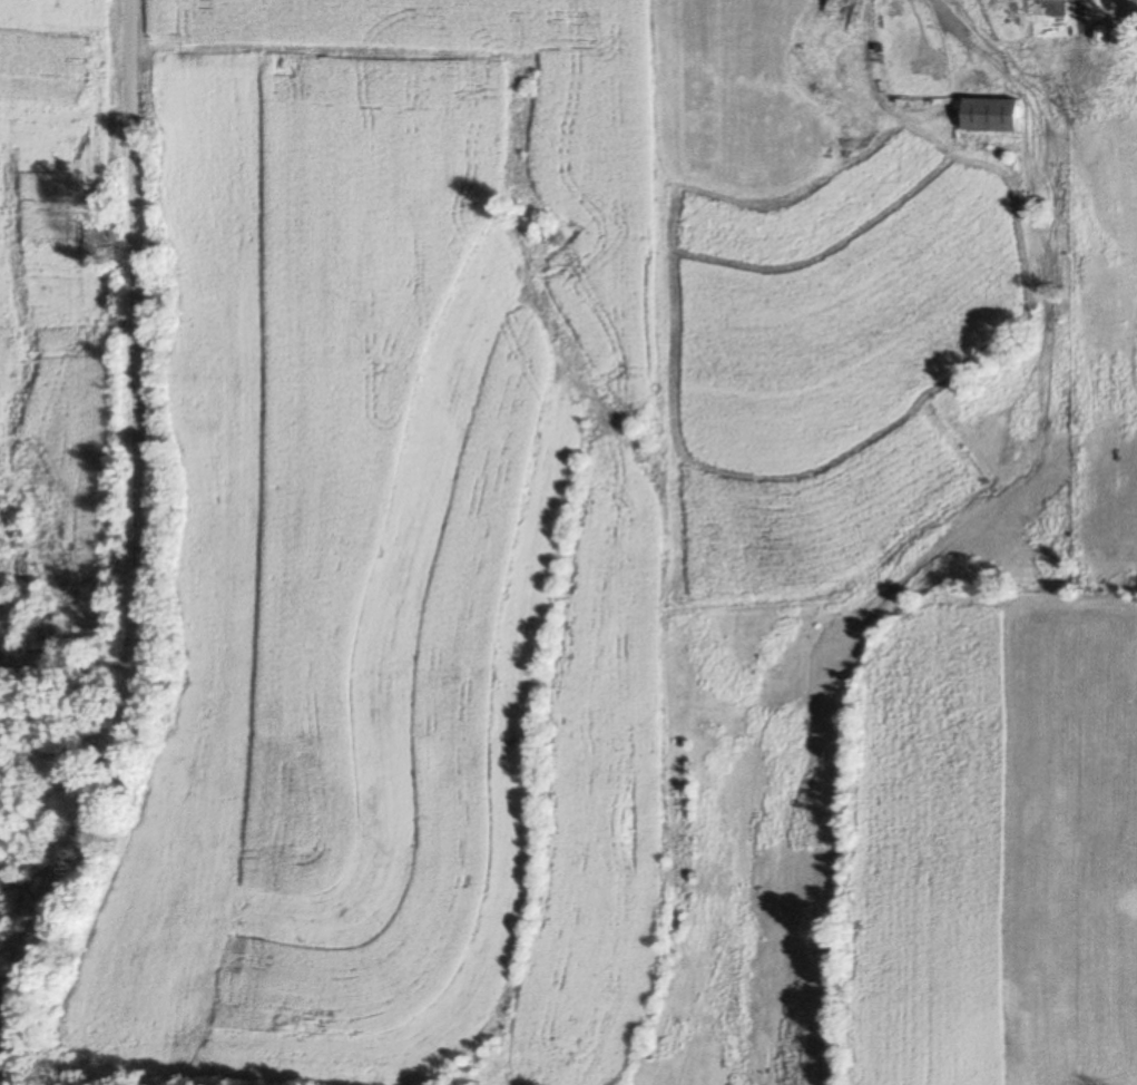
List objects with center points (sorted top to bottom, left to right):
building: (1133, 8)
building: (989, 115)
road: (139, 344)
road: (59, 884)

